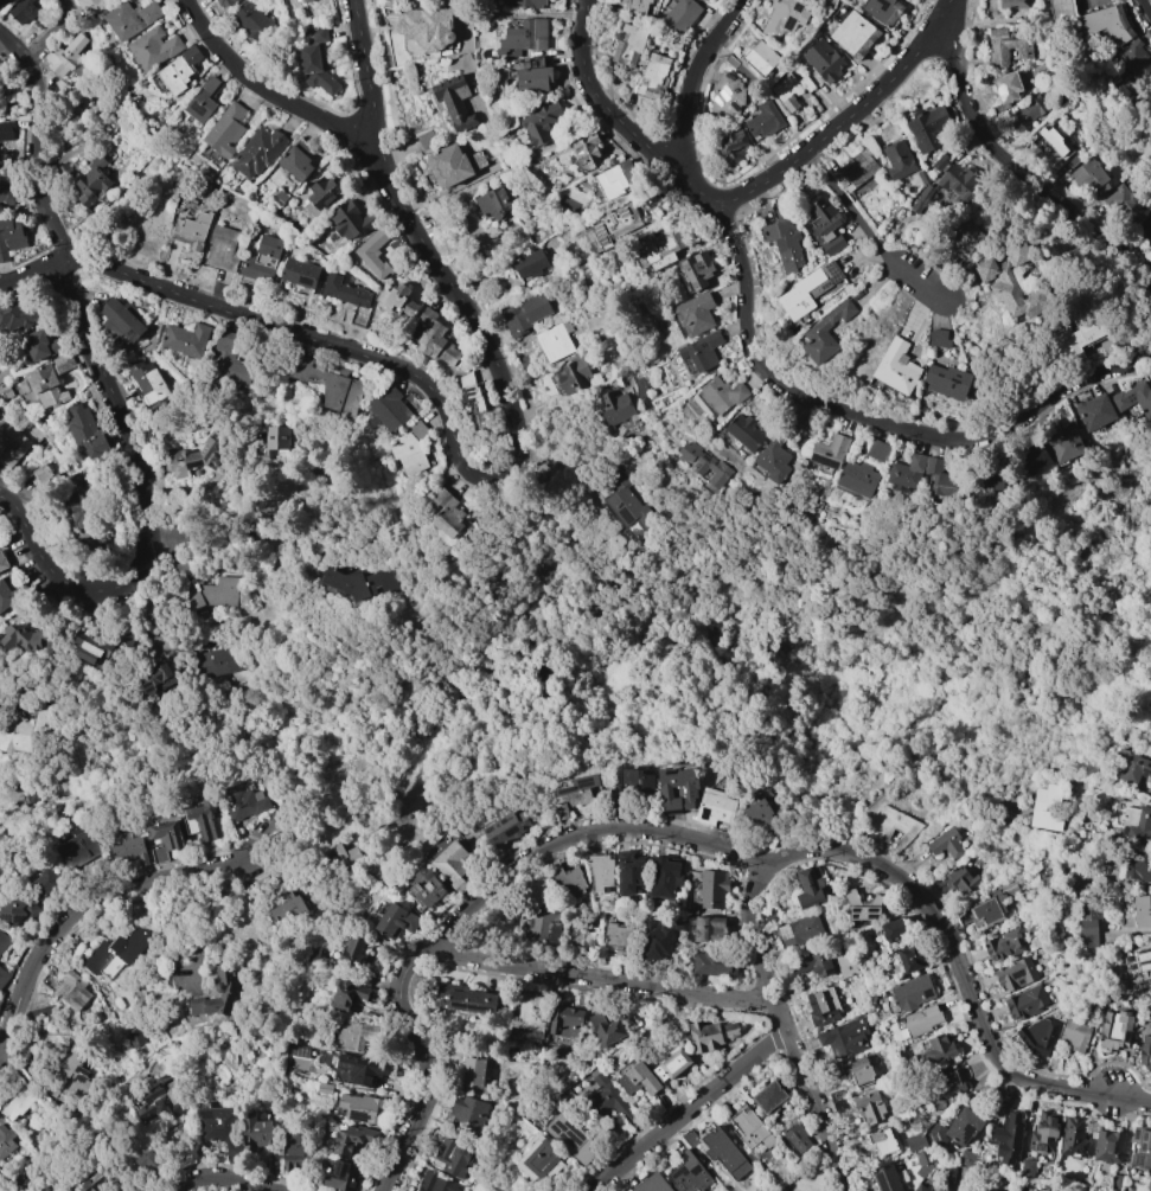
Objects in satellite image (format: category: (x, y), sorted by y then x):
building: (708, 0)
building: (2, 1)
building: (298, 1)
building: (222, 2)
building: (525, 4)
building: (1016, 4)
building: (89, 6)
building: (633, 6)
building: (1061, 8)
road: (1145, 8)
building: (21, 11)
building: (882, 11)
building: (680, 15)
building: (784, 18)
building: (130, 19)
building: (251, 20)
building: (1105, 24)
road: (200, 25)
building: (426, 30)
road: (53, 33)
building: (853, 34)
building: (524, 36)
road: (13, 45)
building: (627, 45)
building: (1006, 46)
building: (154, 47)
building: (66, 57)
building: (1133, 57)
building: (760, 58)
road: (229, 59)
building: (315, 59)
building: (824, 60)
building: (179, 70)
road: (369, 71)
building: (653, 76)
road: (695, 78)
building: (533, 79)
building: (1006, 88)
building: (786, 91)
building: (727, 95)
building: (202, 101)
building: (454, 102)
road: (306, 111)
road: (972, 113)
building: (1027, 113)
road: (851, 117)
road: (619, 120)
building: (763, 121)
building: (541, 123)
building: (927, 128)
building: (225, 129)
building: (5, 132)
building: (1049, 145)
building: (734, 146)
building: (586, 152)
building: (257, 153)
building: (897, 158)
road: (527, 160)
road: (36, 161)
building: (296, 161)
building: (448, 166)
building: (856, 171)
building: (616, 179)
building: (1089, 179)
building: (91, 183)
building: (957, 184)
building: (5, 192)
building: (322, 193)
building: (492, 203)
building: (1123, 204)
building: (1145, 225)
building: (824, 226)
building: (610, 228)
building: (191, 230)
road: (869, 231)
road: (1093, 231)
building: (11, 237)
building: (966, 237)
building: (782, 243)
building: (222, 248)
building: (660, 248)
building: (1016, 252)
building: (373, 254)
building: (261, 260)
building: (530, 264)
building: (695, 271)
road: (32, 273)
building: (298, 275)
building: (810, 289)
building: (1011, 289)
building: (344, 290)
building: (396, 301)
building: (525, 313)
building: (695, 314)
building: (18, 315)
building: (121, 319)
building: (826, 334)
building: (939, 338)
building: (435, 339)
building: (1078, 339)
building: (185, 340)
building: (554, 341)
building: (39, 345)
building: (702, 352)
building: (229, 360)
building: (897, 367)
road: (1102, 374)
building: (573, 376)
building: (51, 382)
building: (946, 382)
building: (148, 383)
building: (328, 385)
building: (721, 395)
building: (1134, 398)
road: (825, 404)
building: (615, 408)
building: (386, 411)
building: (1094, 411)
building: (744, 431)
building: (85, 433)
building: (276, 437)
road: (454, 442)
building: (1063, 443)
building: (11, 444)
building: (831, 452)
building: (774, 456)
building: (192, 459)
building: (1034, 459)
building: (705, 465)
building: (903, 475)
building: (858, 478)
building: (987, 485)
building: (78, 504)
road: (146, 504)
building: (626, 506)
building: (446, 513)
road: (171, 543)
building: (2, 562)
building: (363, 582)
building: (215, 594)
building: (9, 595)
building: (26, 639)
building: (88, 646)
building: (218, 661)
building: (25, 730)
building: (1131, 766)
building: (633, 781)
building: (676, 787)
building: (573, 793)
building: (244, 803)
building: (714, 806)
building: (1046, 807)
building: (761, 815)
building: (204, 819)
building: (541, 820)
building: (893, 825)
building: (1139, 827)
building: (505, 828)
building: (162, 840)
building: (946, 844)
building: (76, 845)
building: (129, 847)
road: (807, 851)
building: (338, 857)
building: (1137, 863)
building: (452, 864)
building: (600, 871)
building: (628, 872)
building: (663, 877)
building: (957, 881)
building: (45, 882)
building: (568, 882)
building: (426, 886)
building: (808, 888)
building: (712, 889)
building: (852, 902)
building: (987, 907)
building: (17, 910)
building: (287, 910)
building: (1142, 910)
road: (84, 911)
road: (468, 911)
building: (396, 921)
building: (1088, 921)
building: (539, 924)
building: (708, 928)
building: (893, 929)
building: (799, 930)
building: (581, 934)
building: (658, 937)
building: (620, 939)
building: (2, 941)
building: (1003, 945)
building: (351, 953)
building: (912, 958)
building: (1143, 959)
building: (103, 961)
building: (712, 963)
building: (812, 963)
building: (1015, 973)
building: (2, 977)
road: (602, 978)
building: (224, 990)
building: (72, 991)
building: (912, 992)
building: (345, 994)
building: (465, 998)
building: (1025, 1001)
building: (821, 1005)
building: (39, 1011)
road: (978, 1013)
building: (527, 1018)
building: (564, 1020)
building: (921, 1020)
building: (605, 1027)
road: (786, 1029)
building: (729, 1030)
building: (1114, 1030)
building: (356, 1035)
building: (703, 1036)
building: (1037, 1036)
building: (1074, 1036)
building: (135, 1038)
building: (844, 1038)
building: (938, 1049)
building: (299, 1050)
building: (1145, 1051)
building: (1051, 1062)
building: (671, 1063)
building: (362, 1069)
building: (472, 1071)
building: (857, 1071)
building: (68, 1075)
building: (637, 1078)
building: (324, 1088)
building: (948, 1088)
building: (768, 1096)
building: (608, 1102)
building: (159, 1103)
building: (15, 1104)
building: (868, 1107)
building: (362, 1108)
road: (689, 1108)
building: (467, 1113)
building: (963, 1126)
building: (220, 1128)
building: (749, 1128)
building: (255, 1132)
building: (1043, 1133)
building: (936, 1135)
building: (571, 1138)
building: (688, 1138)
building: (797, 1138)
building: (1006, 1138)
building: (1073, 1138)
building: (352, 1139)
building: (5, 1140)
building: (882, 1140)
building: (1107, 1146)
building: (917, 1147)
building: (1139, 1147)
building: (294, 1153)
building: (723, 1153)
building: (450, 1157)
building: (749, 1157)
building: (539, 1158)
building: (965, 1158)
building: (148, 1161)
building: (273, 1166)
building: (1027, 1167)
park: (191, 1172)
building: (688, 1173)
building: (338, 1176)
building: (0, 1177)
road: (223, 1178)
building: (884, 1178)
building: (1115, 1182)
building: (92, 1183)
building: (436, 1183)
building: (648, 1184)
building: (1147, 1185)
building: (922, 1187)
building: (1085, 1189)
building: (985, 1190)

